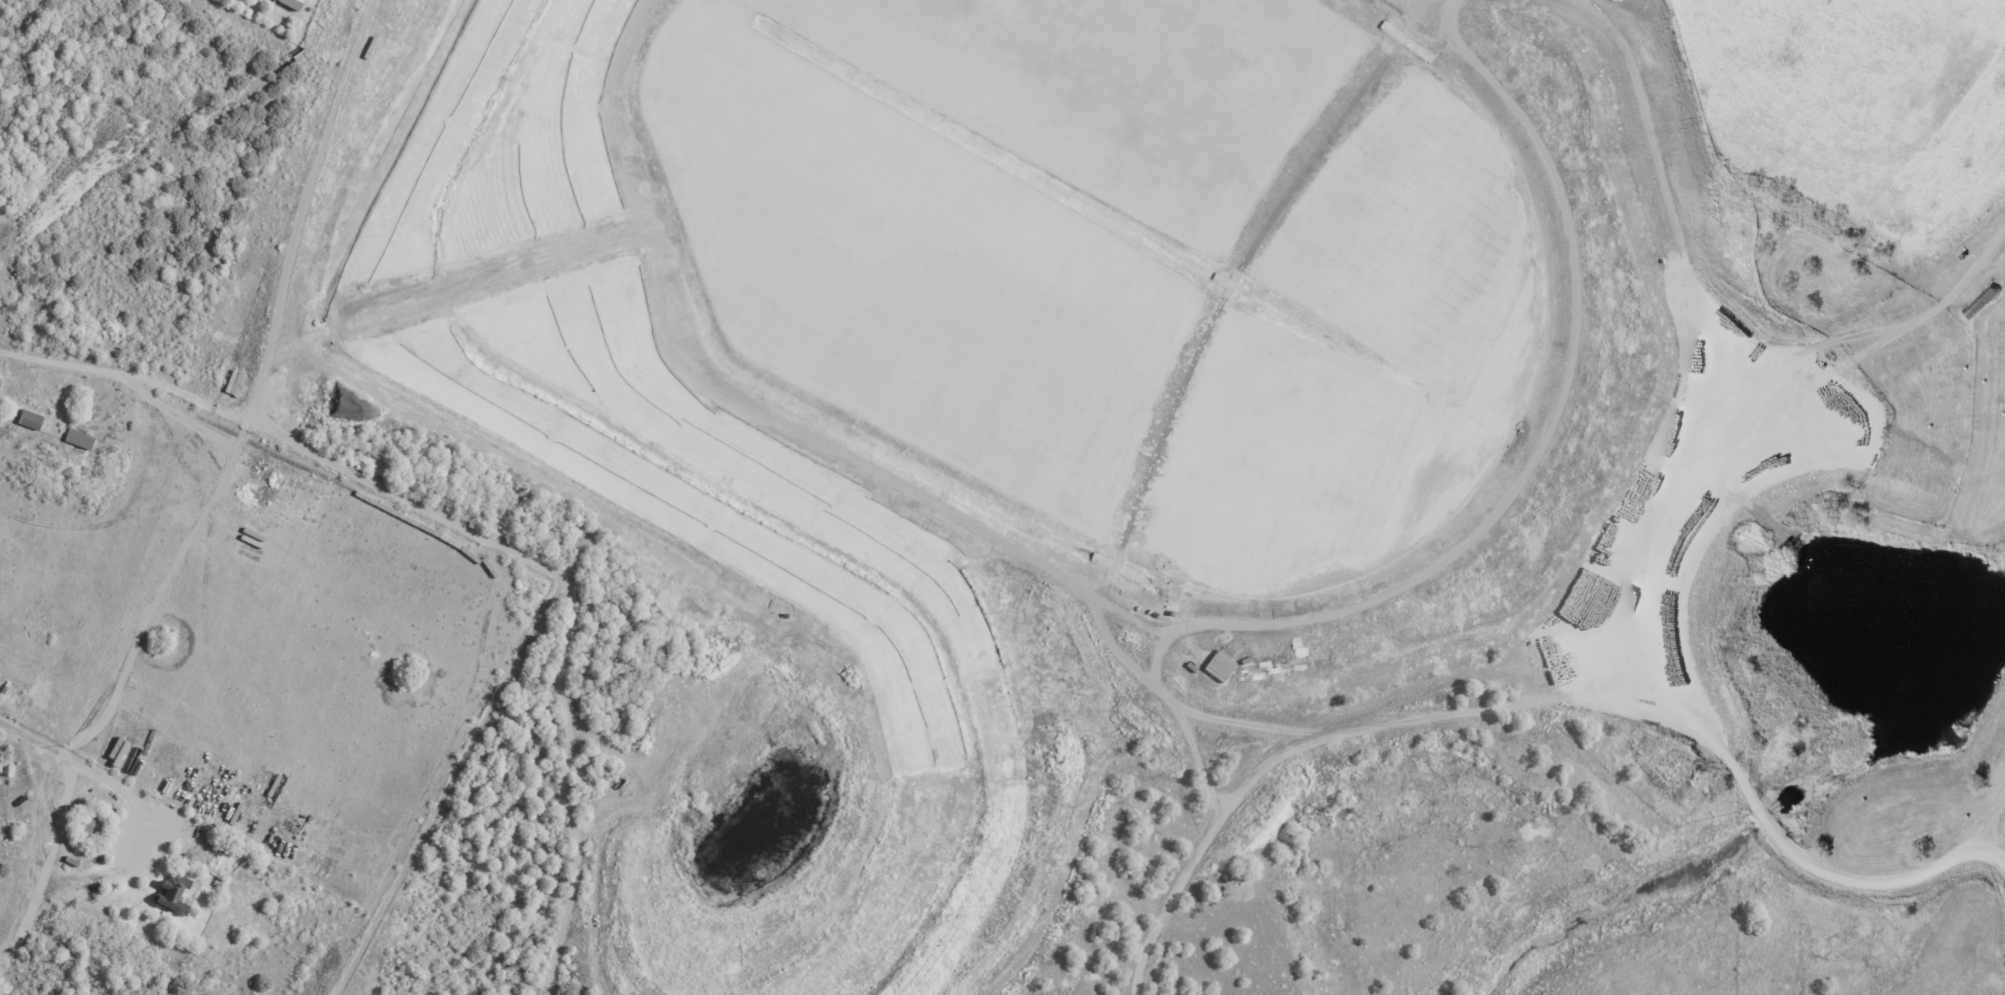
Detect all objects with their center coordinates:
building: (293, 4)
building: (32, 421)
building: (81, 439)
road: (287, 441)
road: (78, 762)
road: (1997, 806)
building: (89, 825)
building: (105, 826)
building: (188, 857)
building: (253, 859)
building: (73, 861)
building: (218, 883)
building: (173, 894)

